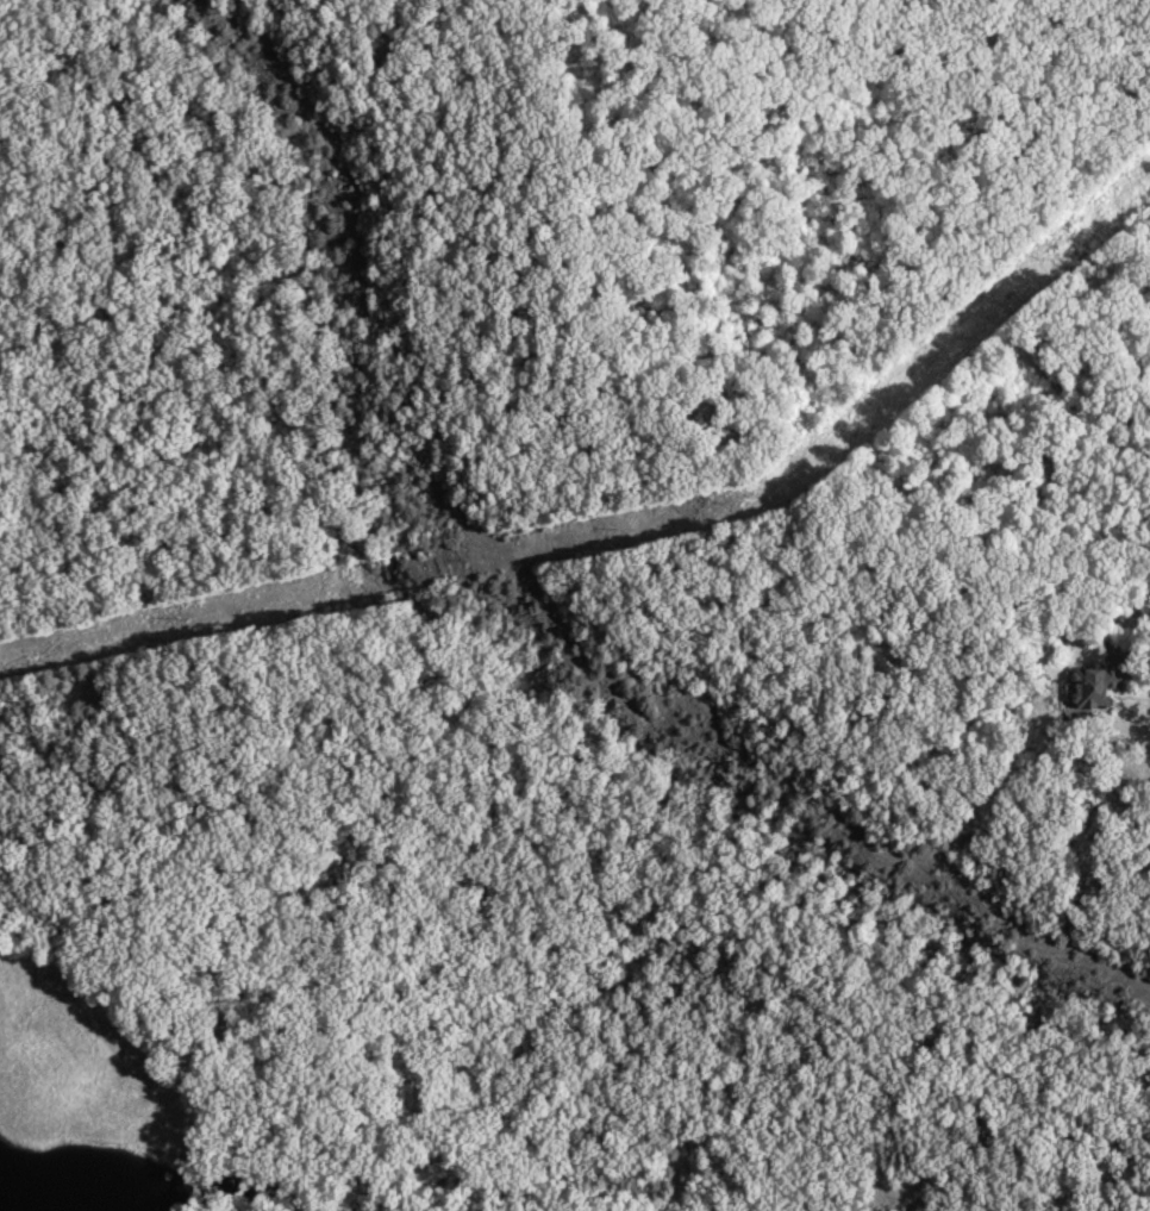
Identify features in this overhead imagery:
building: (1092, 688)
road: (1130, 695)
road: (1148, 697)

